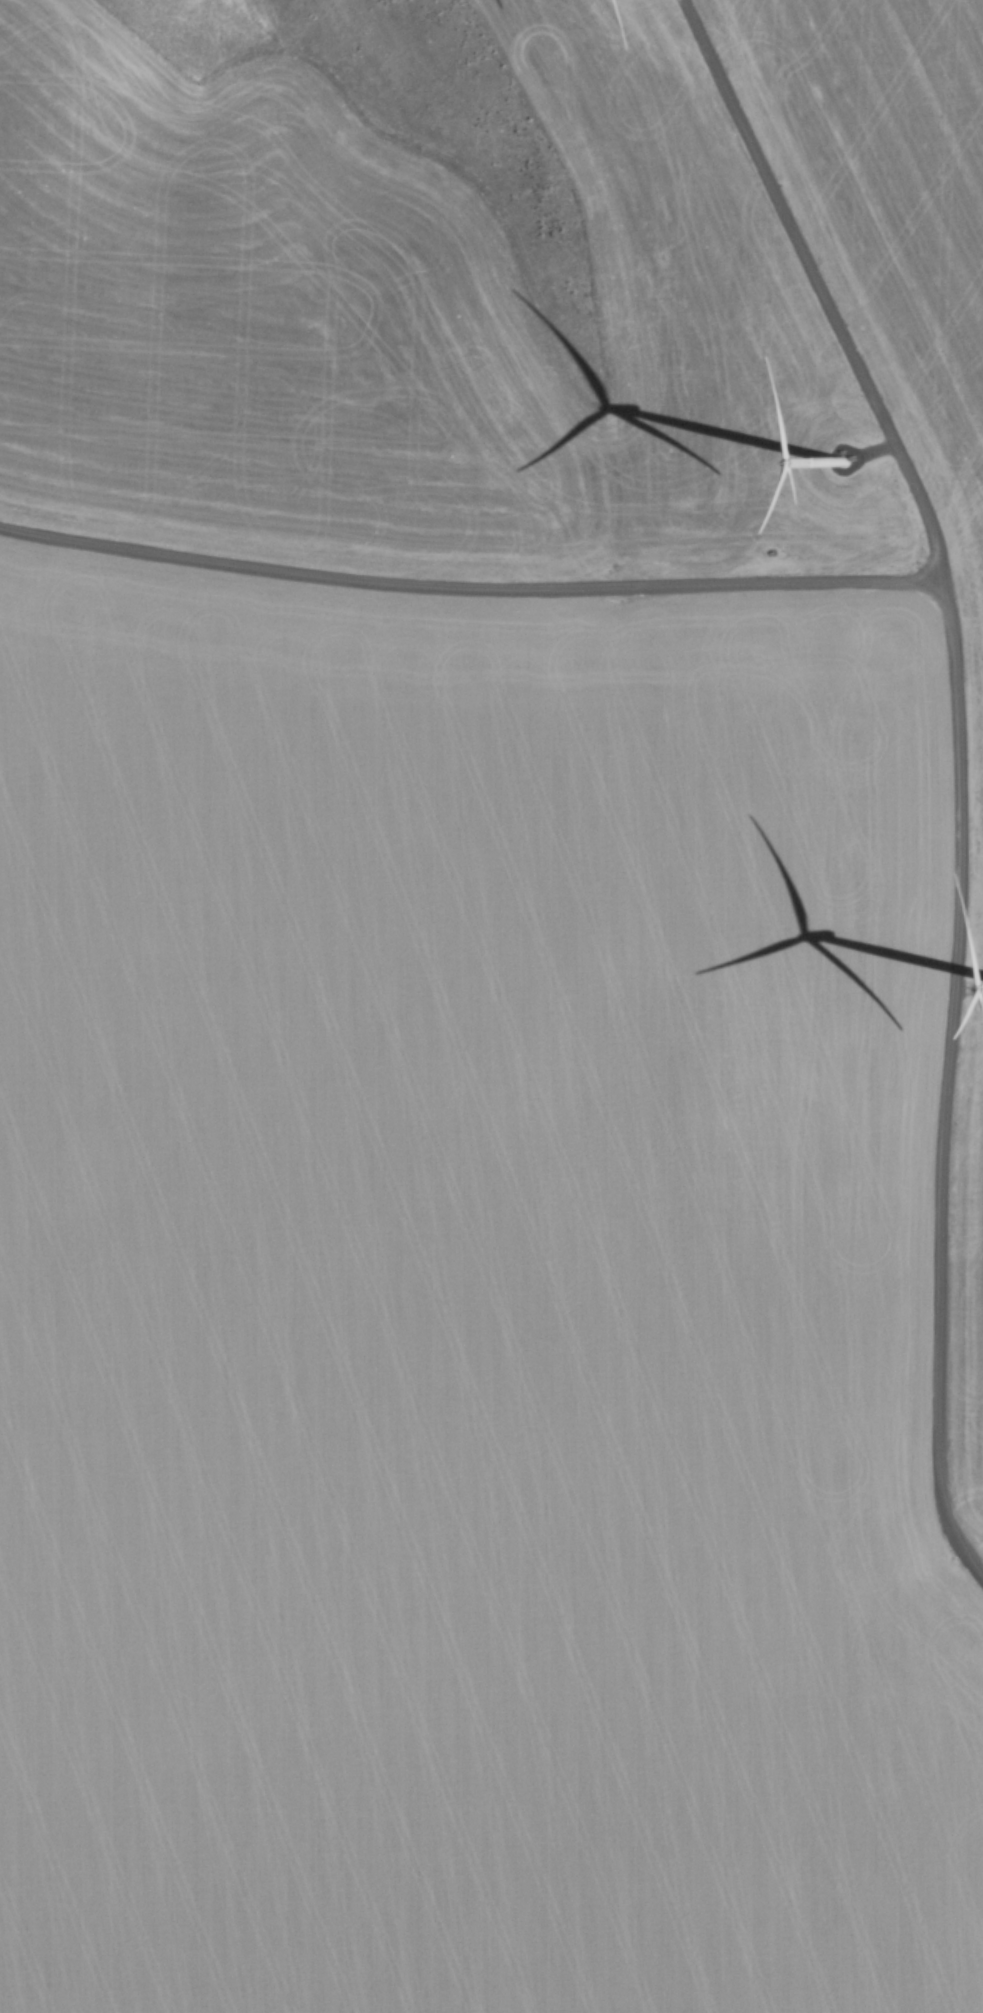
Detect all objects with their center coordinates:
wind turbine: (852, 484)

